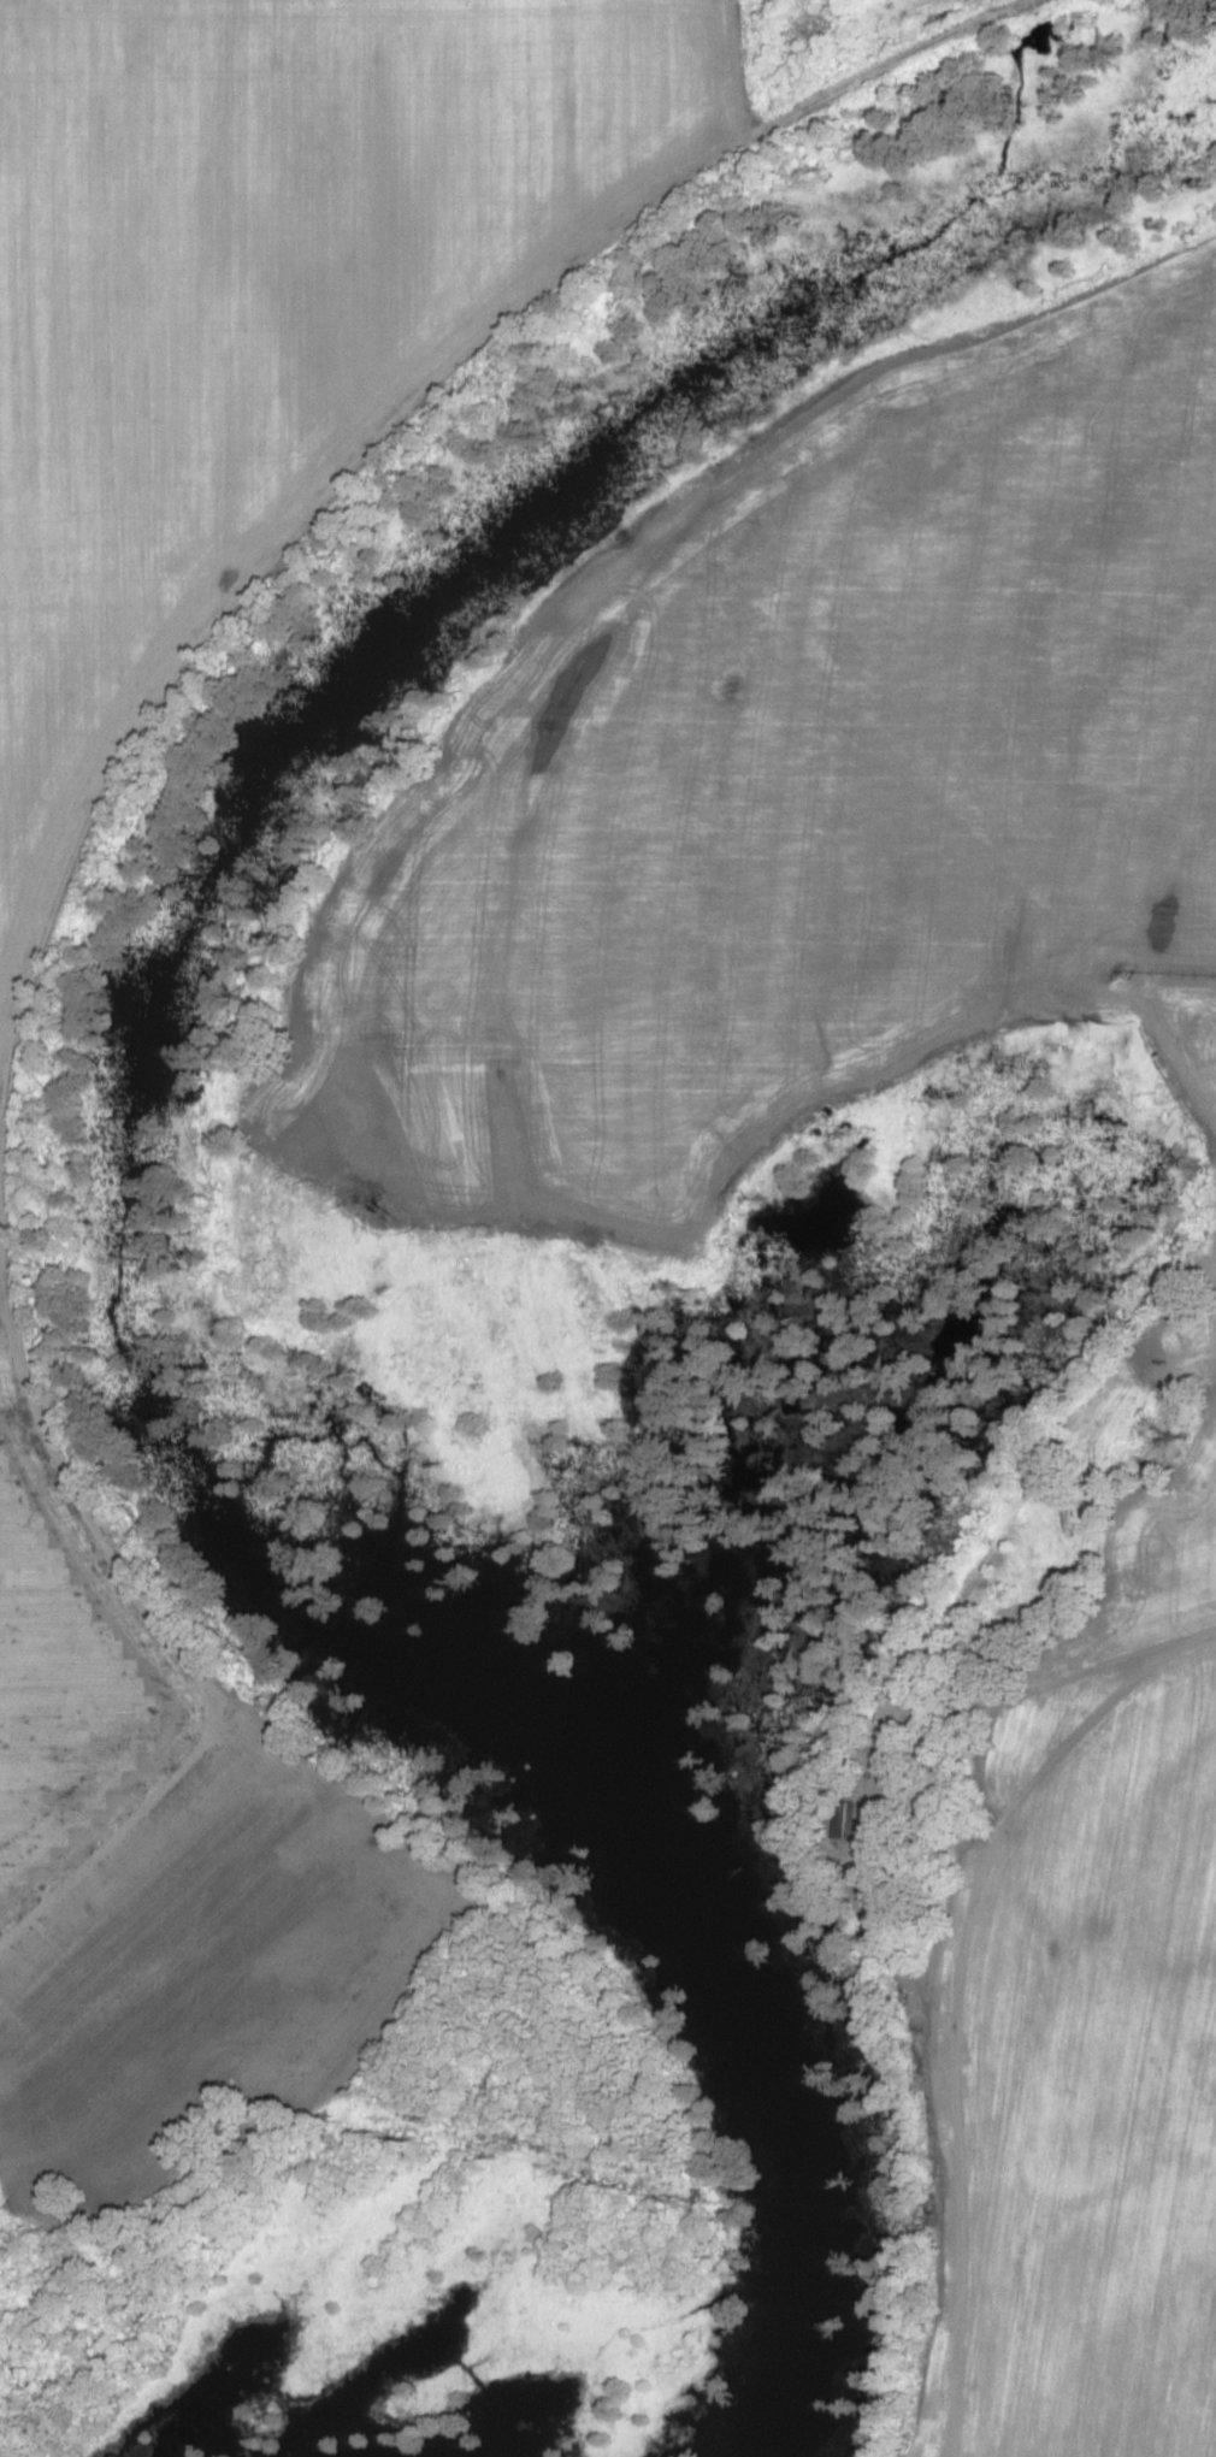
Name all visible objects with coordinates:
road: (185, 1643)
road: (955, 1991)

